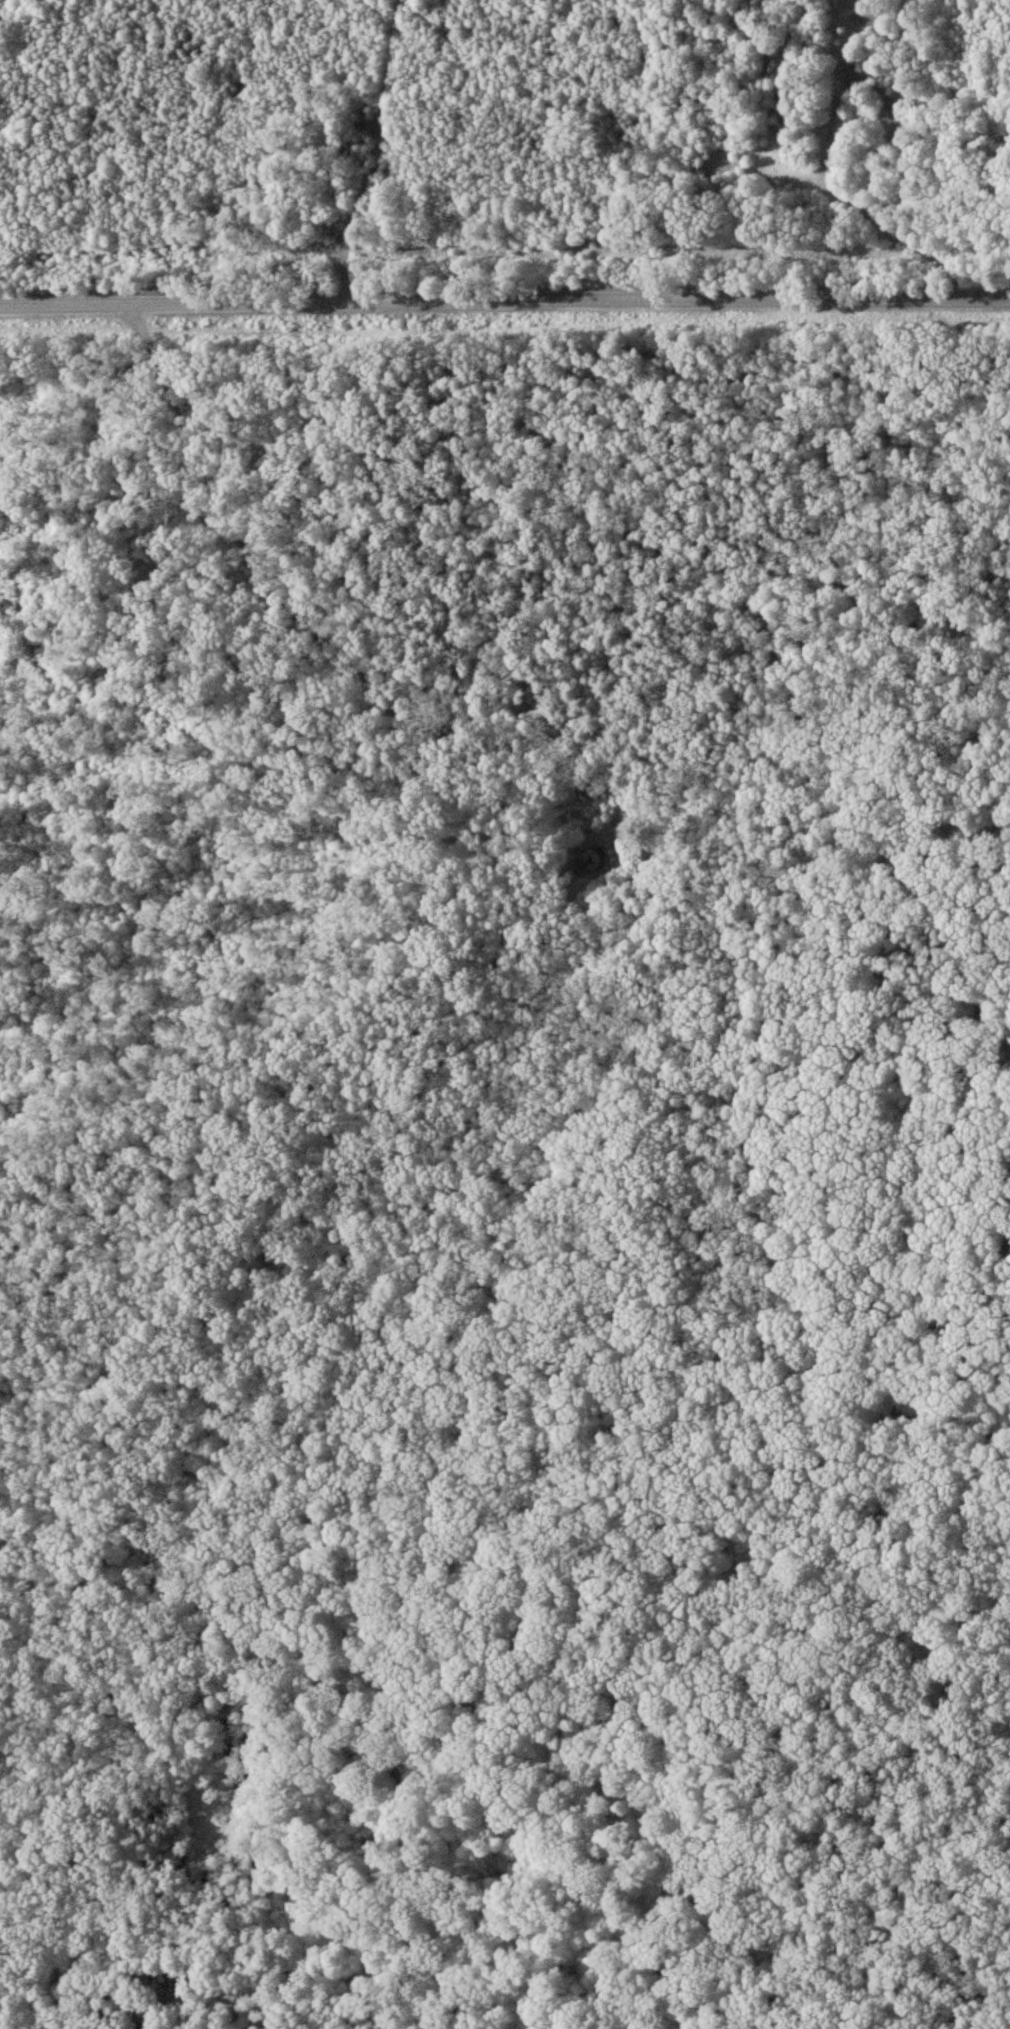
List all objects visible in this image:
road: (504, 303)

